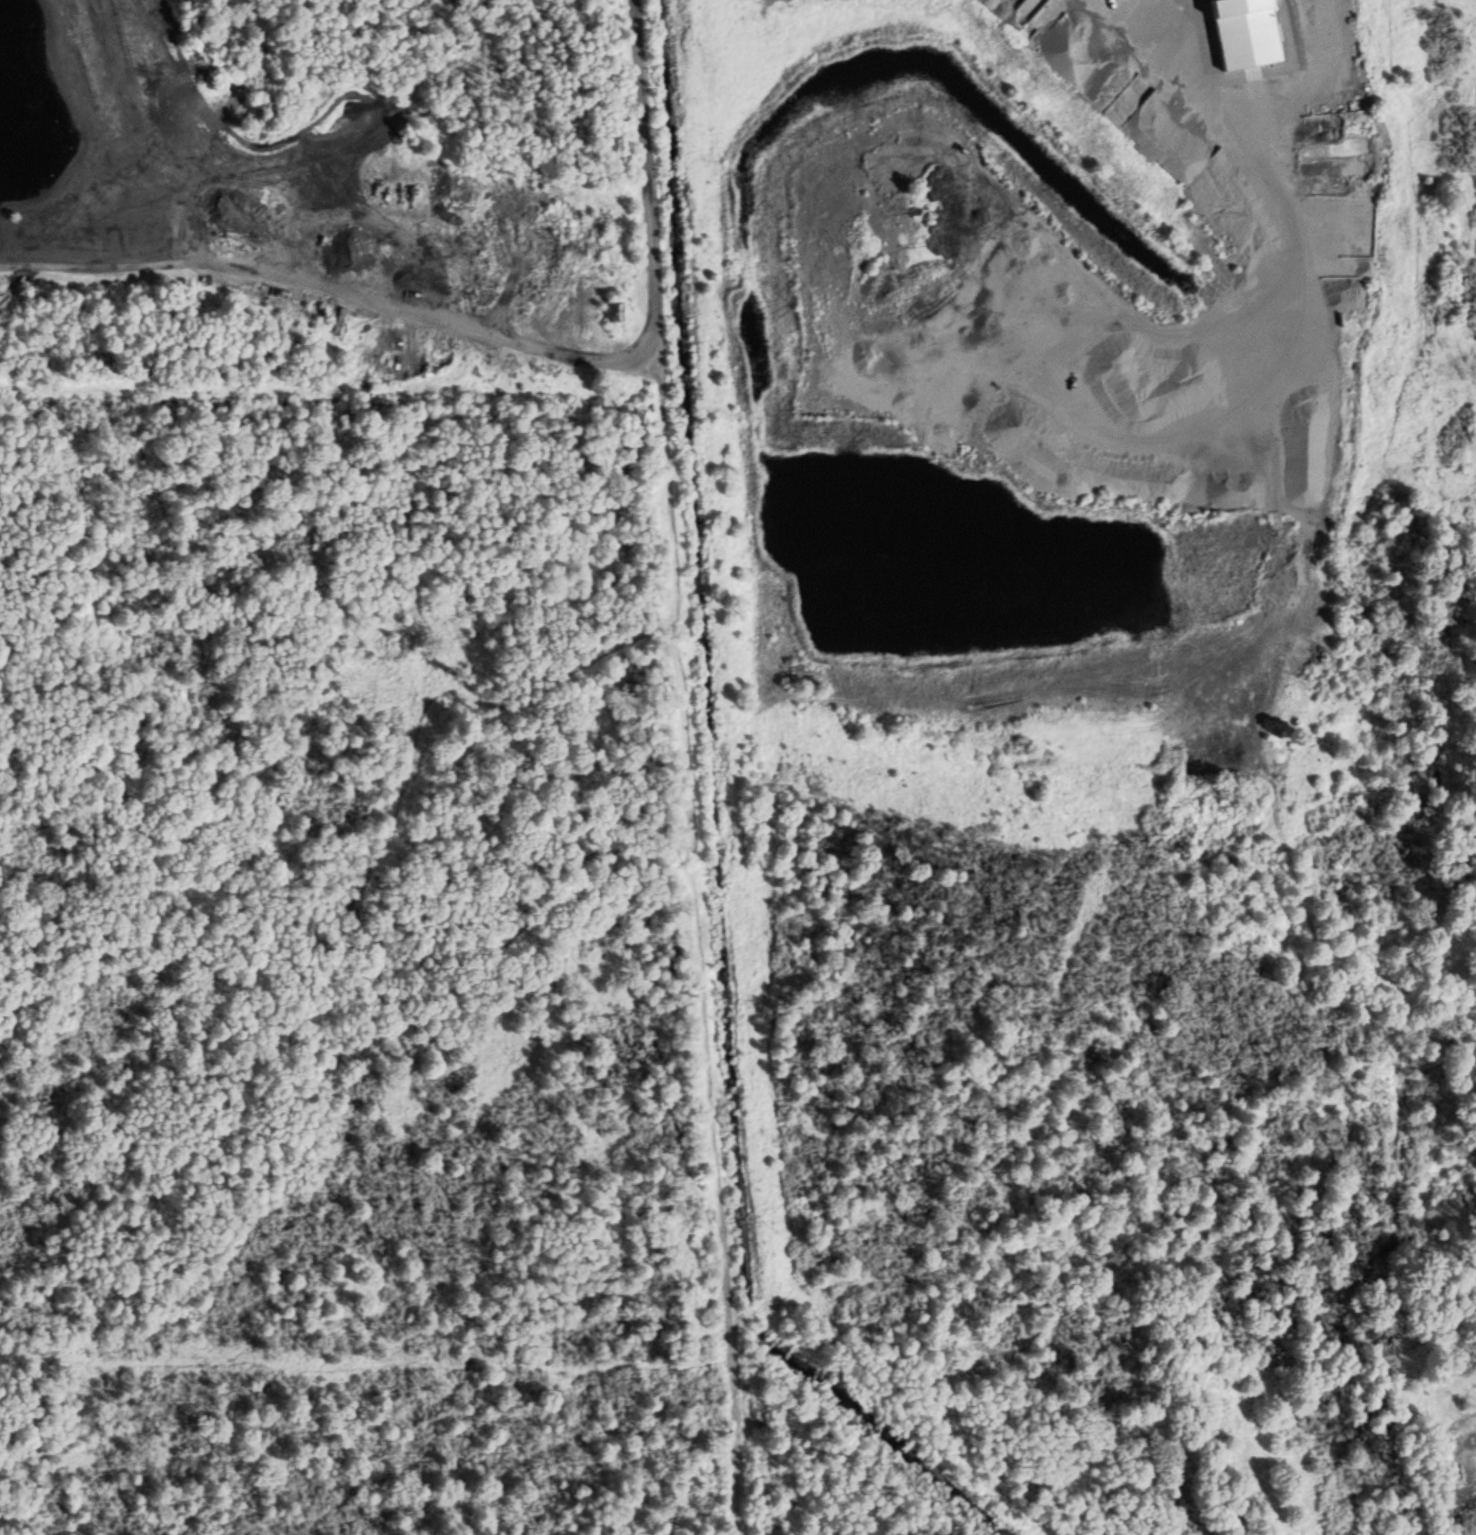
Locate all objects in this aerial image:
building: (1239, 24)
building: (613, 309)
quarry: (1086, 653)
road: (692, 767)

